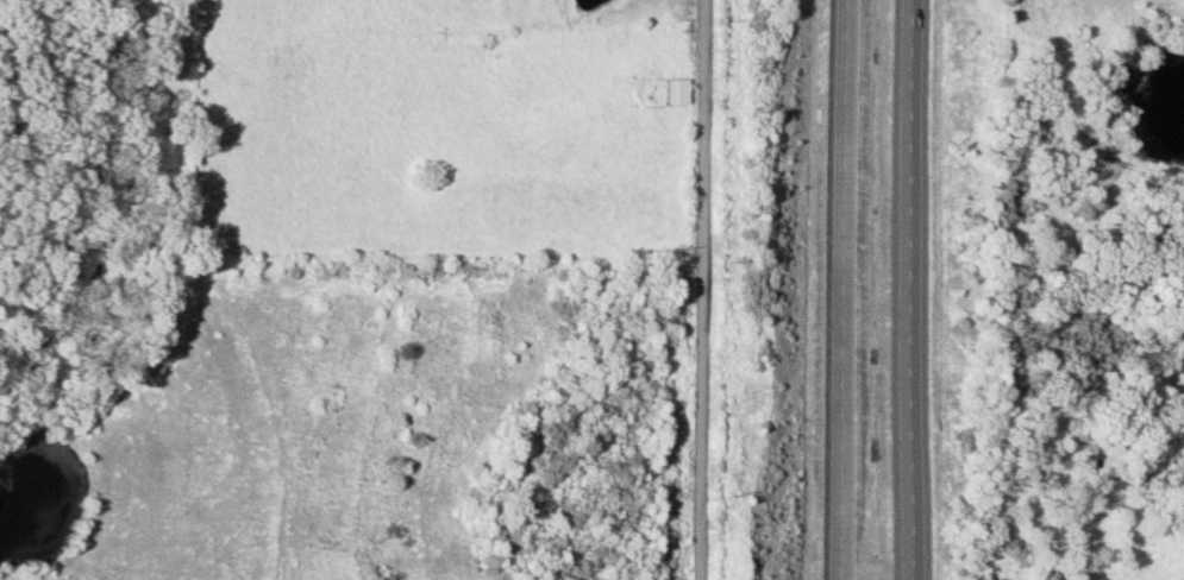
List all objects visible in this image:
road: (706, 290)
road: (851, 290)
road: (915, 290)
building: (1089, 466)

